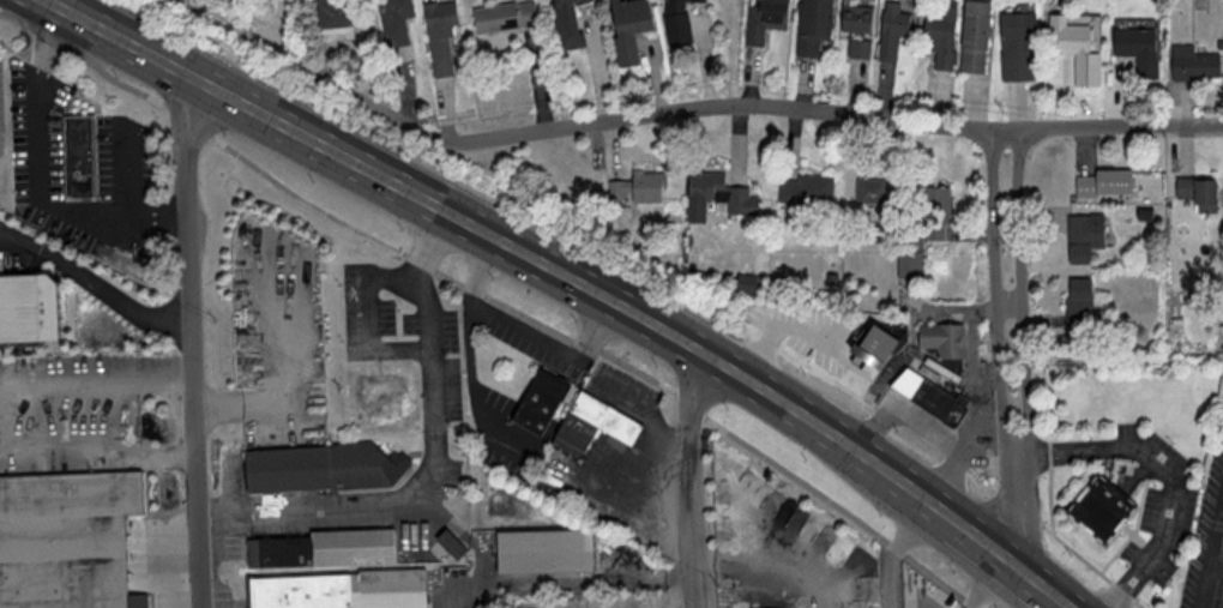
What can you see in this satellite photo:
building: (335, 16)
building: (504, 17)
building: (440, 19)
building: (763, 19)
building: (393, 20)
building: (675, 23)
building: (565, 24)
building: (812, 25)
building: (627, 28)
building: (856, 30)
building: (891, 30)
building: (940, 36)
building: (972, 36)
building: (1071, 46)
building: (1017, 47)
building: (1137, 49)
building: (1192, 64)
road: (755, 107)
building: (76, 155)
road: (36, 181)
building: (1102, 182)
building: (638, 187)
building: (805, 189)
building: (869, 191)
building: (719, 192)
building: (1195, 193)
building: (924, 230)
building: (1084, 235)
road: (506, 245)
road: (1017, 258)
road: (95, 284)
building: (1078, 302)
building: (25, 307)
road: (370, 323)
road: (986, 324)
road: (524, 329)
building: (941, 338)
road: (194, 342)
building: (870, 347)
building: (927, 396)
building: (537, 403)
building: (592, 425)
road: (524, 457)
road: (430, 462)
building: (318, 468)
road: (1164, 472)
road: (1016, 476)
road: (692, 482)
building: (1098, 507)
road: (908, 531)
road: (1216, 532)
building: (65, 540)
building: (450, 544)
building: (323, 549)
building: (542, 550)
road: (1011, 564)
road: (1216, 565)
road: (888, 584)
road: (986, 584)
road: (1203, 585)
building: (329, 588)
road: (1060, 606)

